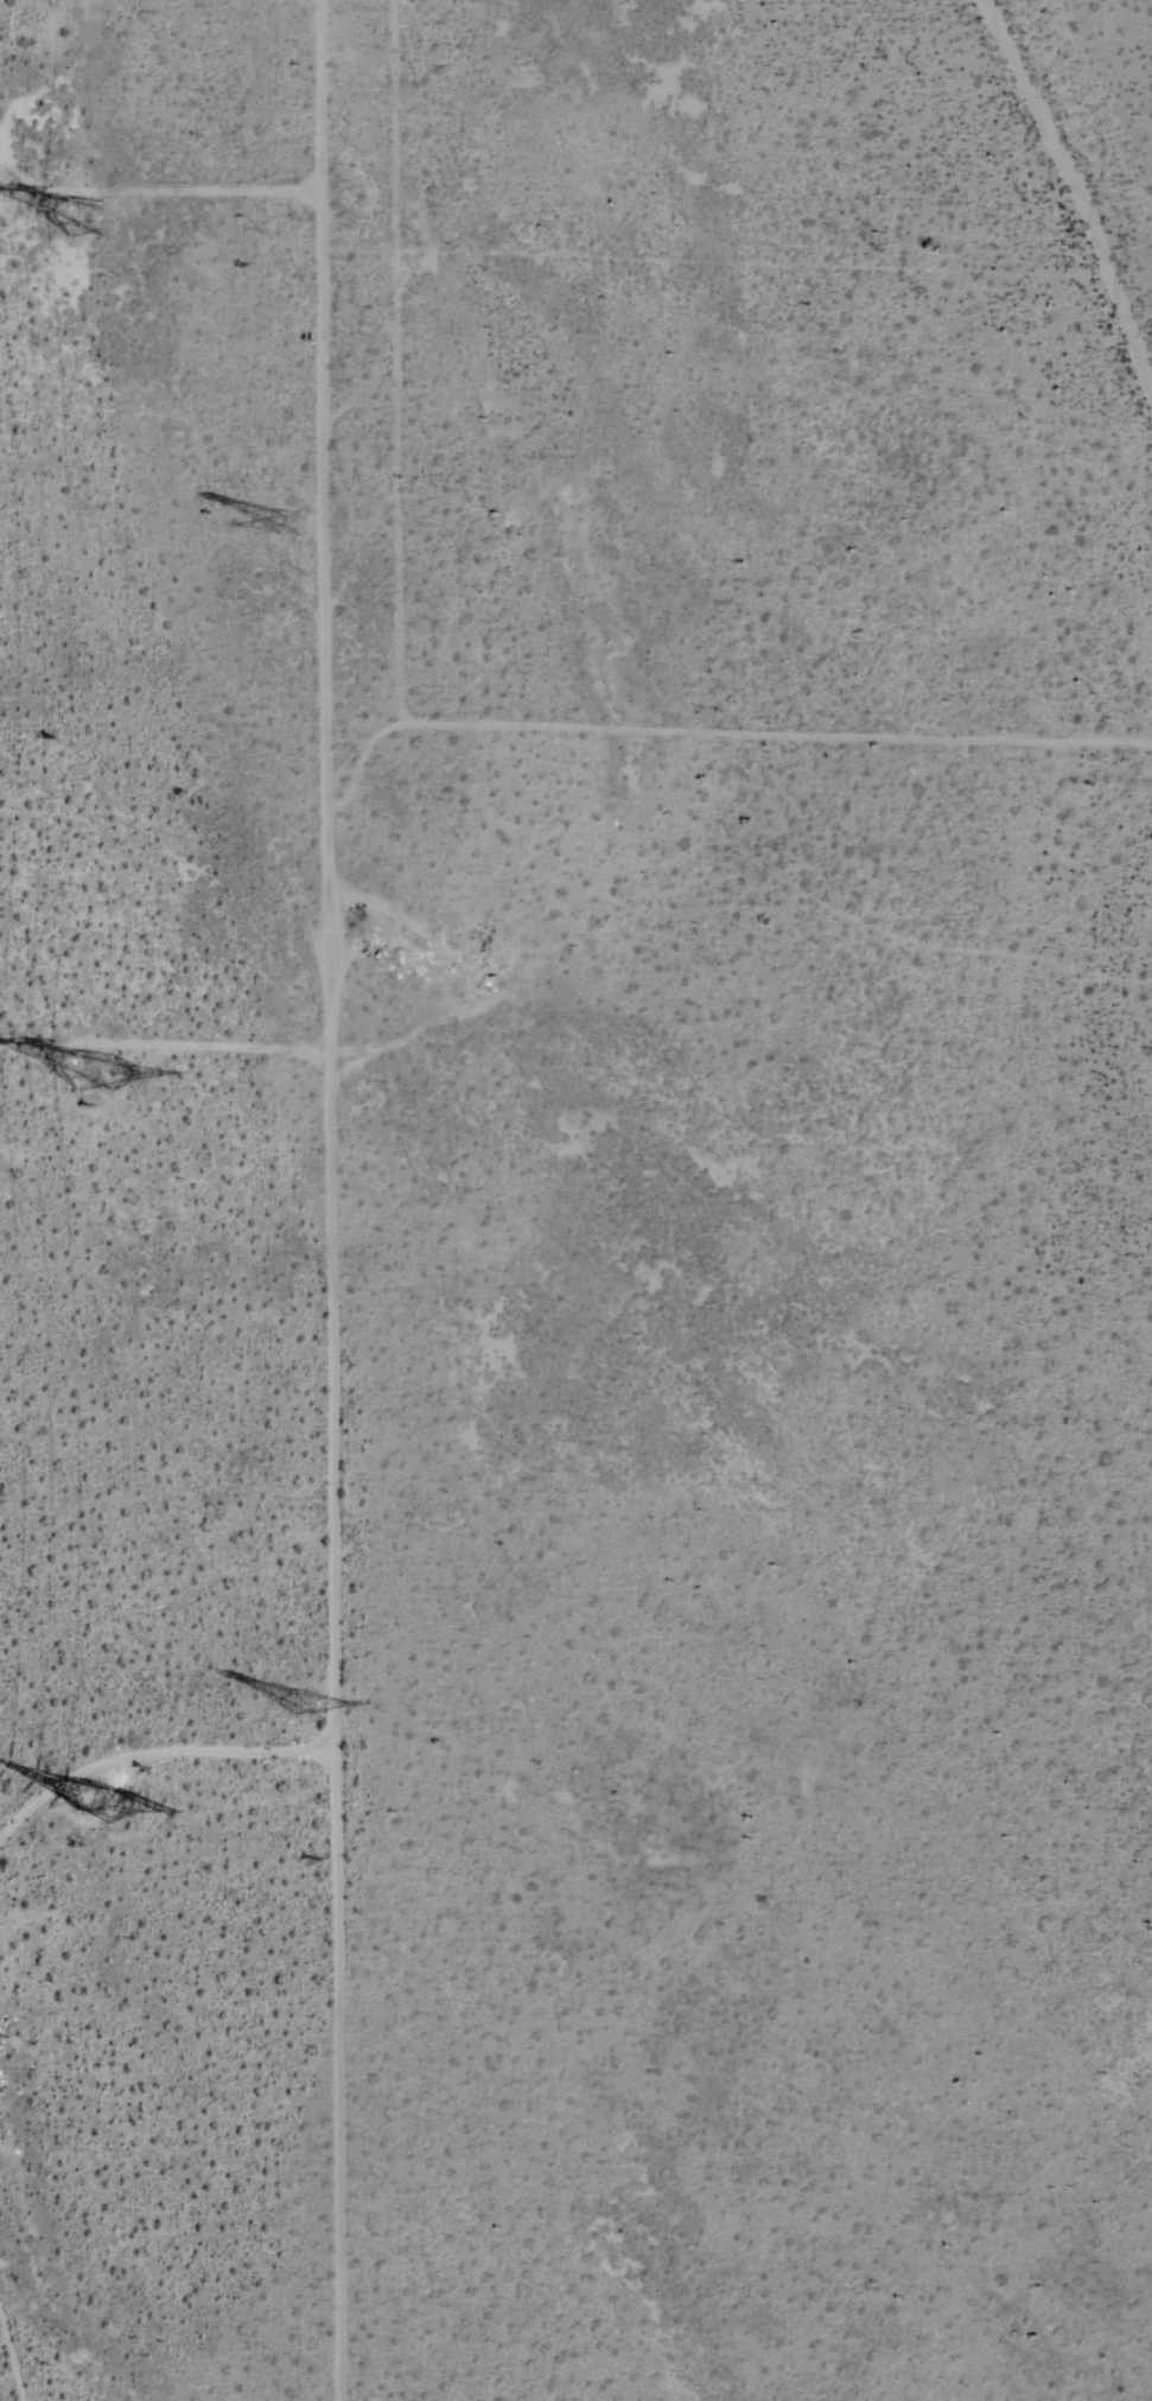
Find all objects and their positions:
power tower: (88, 220)
road: (771, 265)
road: (394, 363)
power tower: (310, 525)
road: (777, 735)
power tower: (90, 1069)
power tower: (316, 1708)
power tower: (91, 1798)

